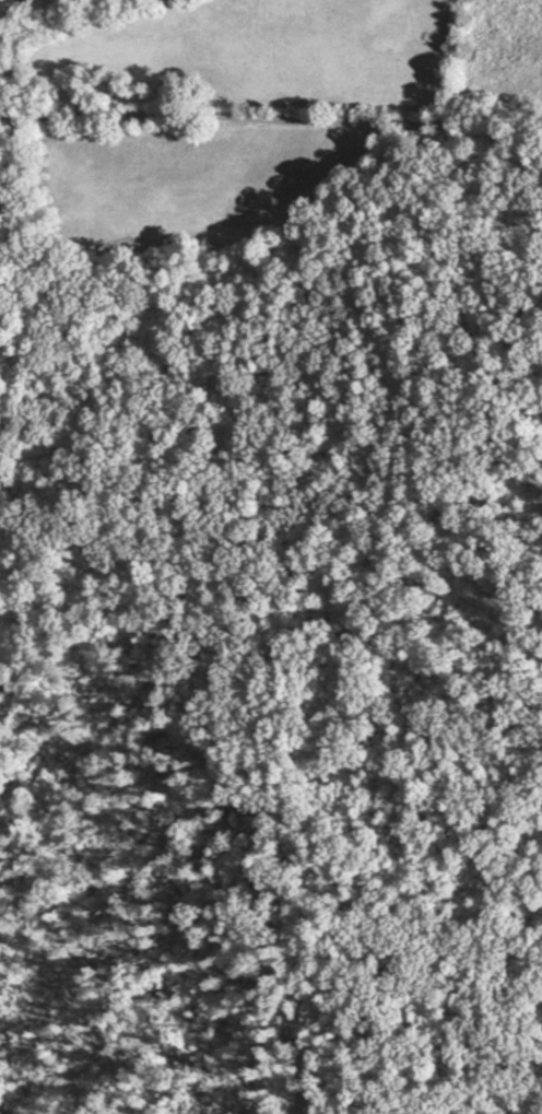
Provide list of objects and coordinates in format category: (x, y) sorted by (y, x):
road: (271, 116)

